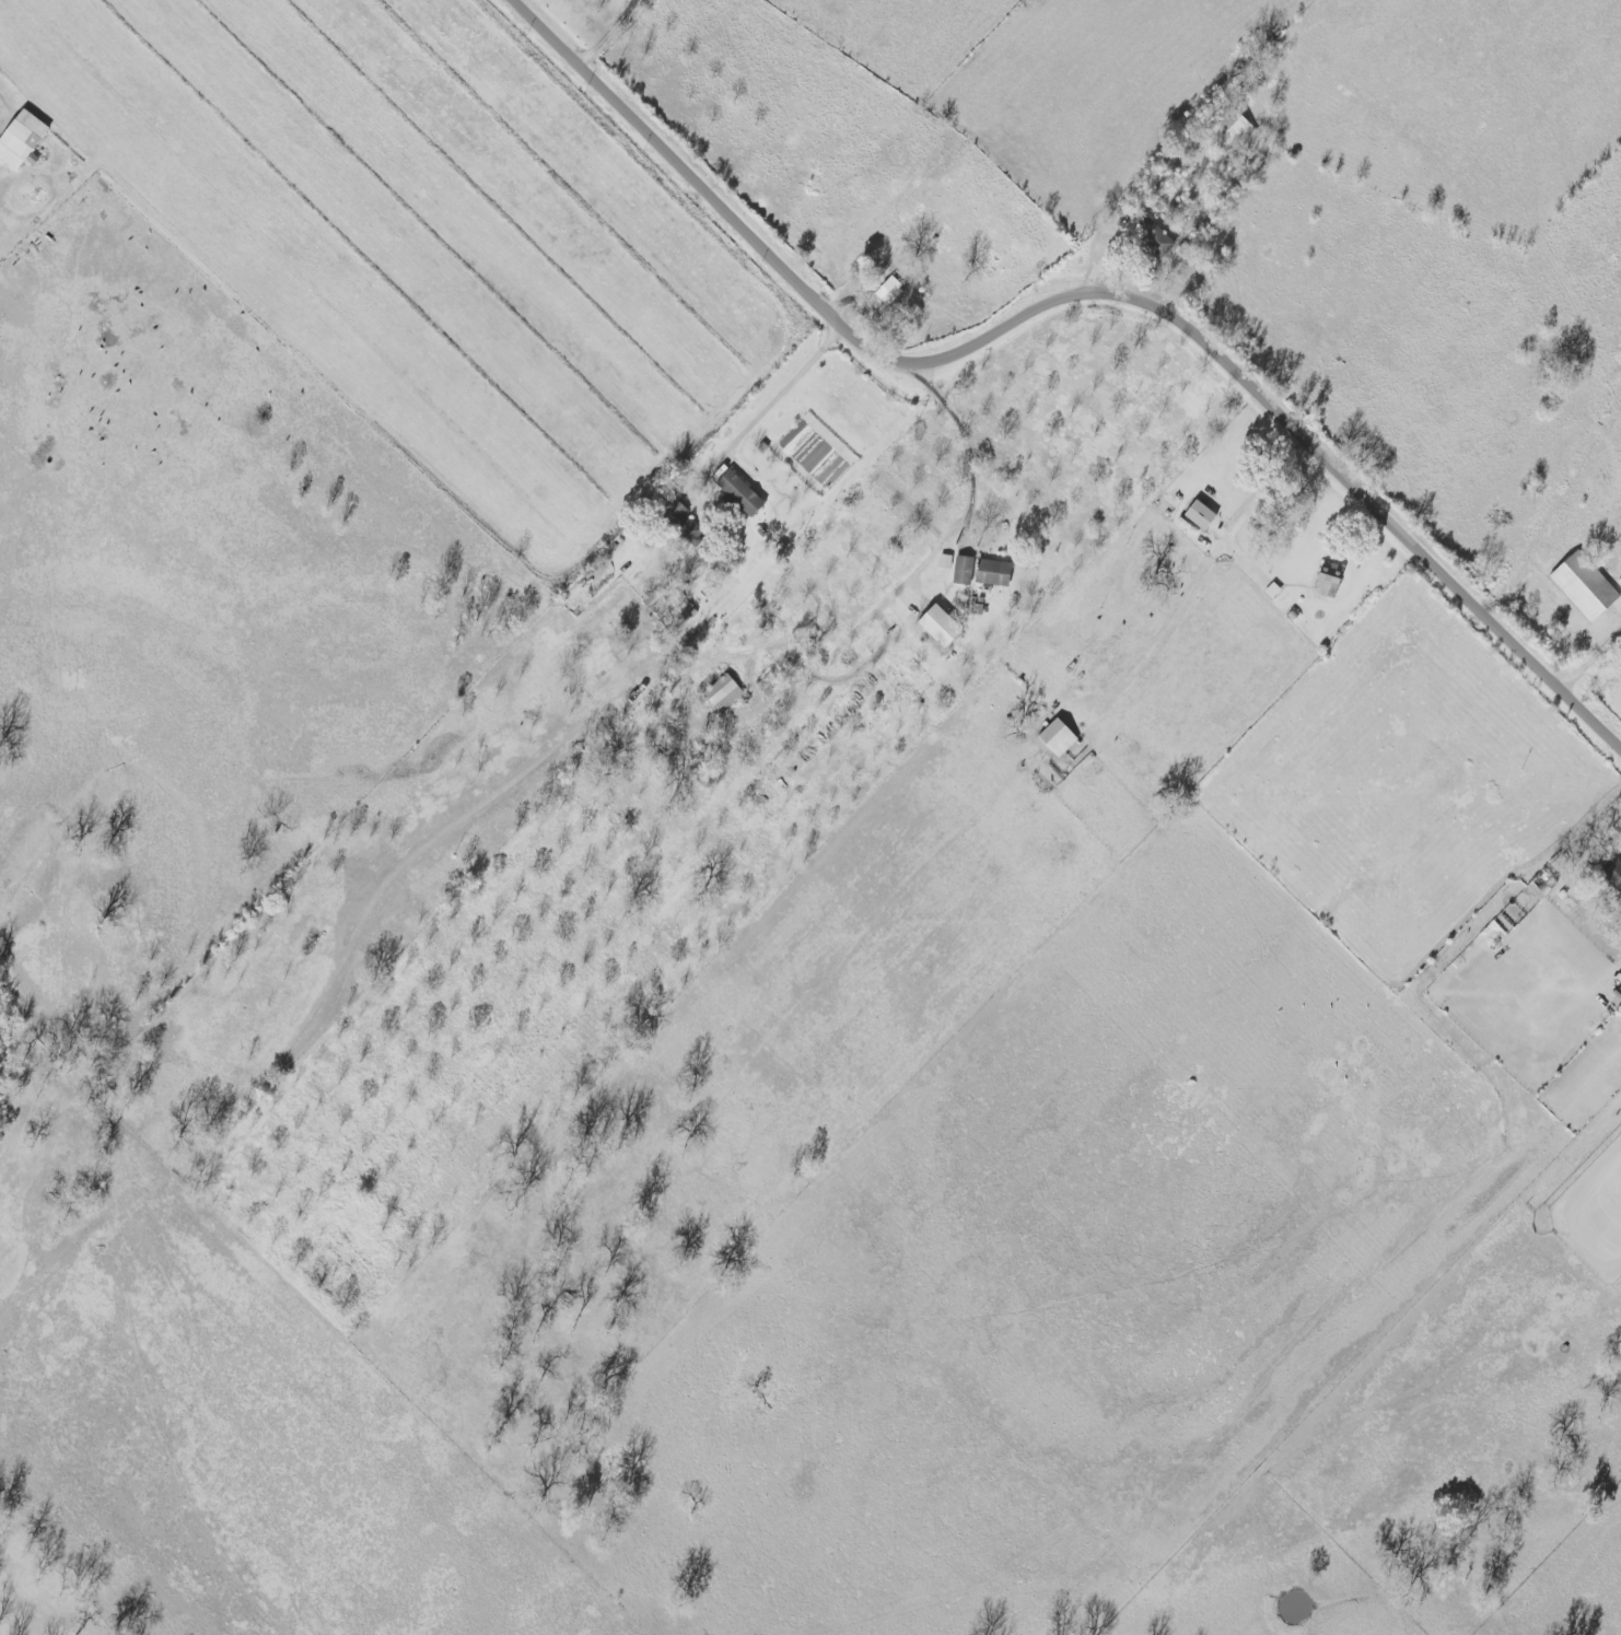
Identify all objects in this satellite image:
building: (1234, 132)
building: (20, 138)
building: (891, 291)
road: (1076, 300)
road: (765, 423)
building: (744, 494)
building: (1202, 516)
building: (680, 519)
road: (967, 526)
building: (965, 571)
building: (995, 573)
building: (597, 580)
building: (1332, 581)
building: (1586, 588)
building: (943, 627)
road: (1590, 662)
building: (1060, 738)
building: (1613, 873)
building: (1544, 885)

